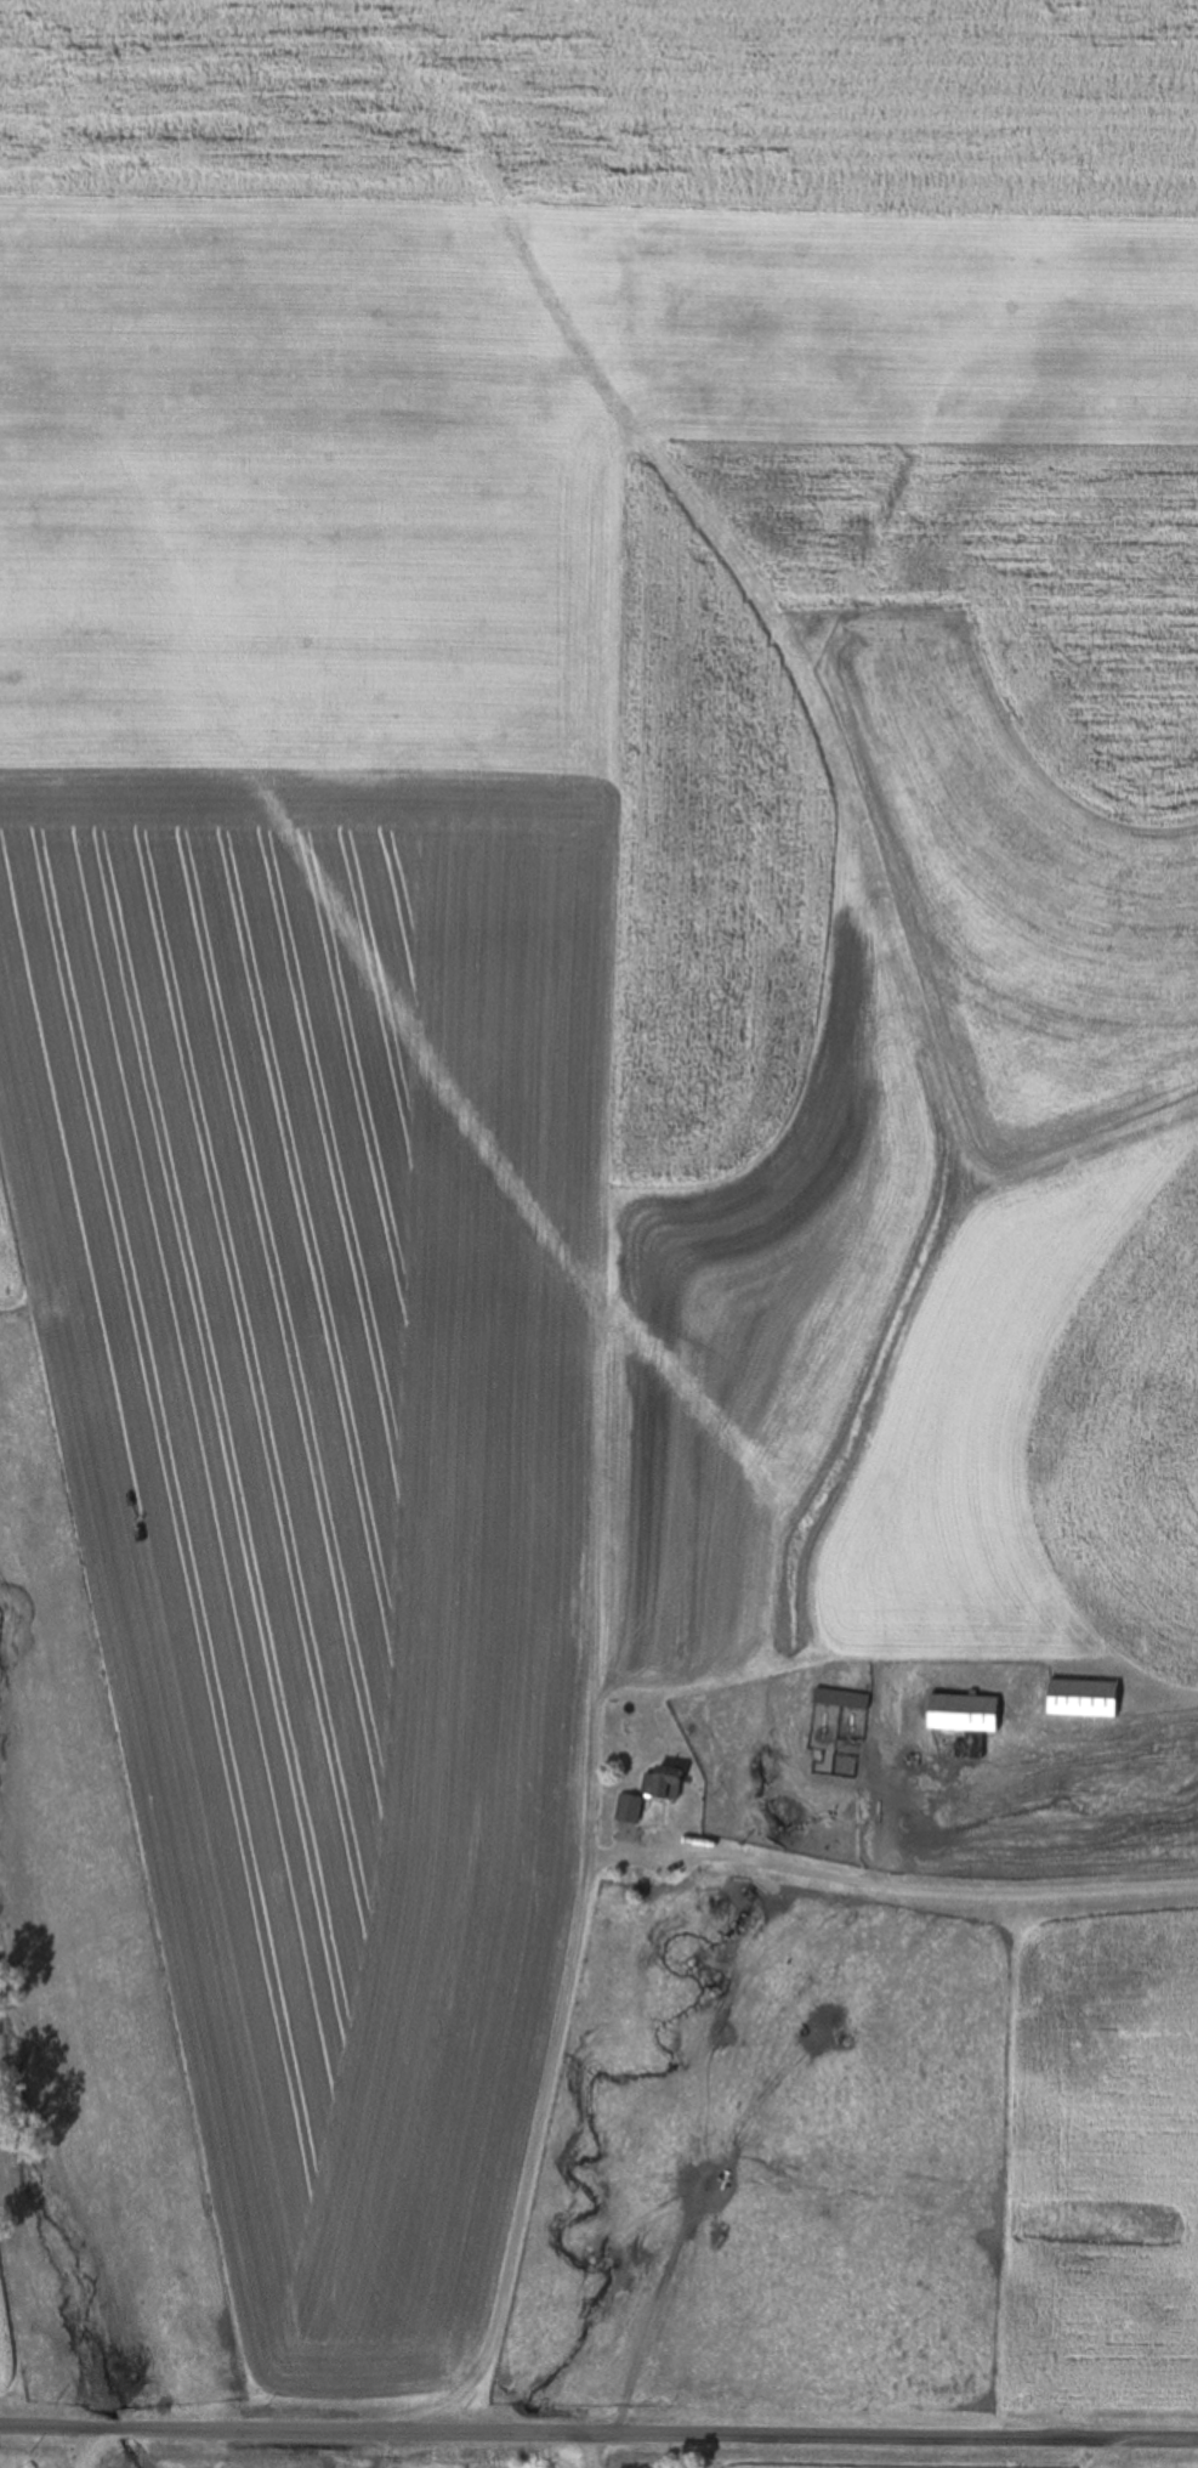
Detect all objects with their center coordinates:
building: (1084, 1698)
building: (842, 1699)
building: (965, 1714)
building: (652, 1793)
road: (941, 1890)
road: (541, 2133)
road: (598, 2430)
road: (85, 2447)

